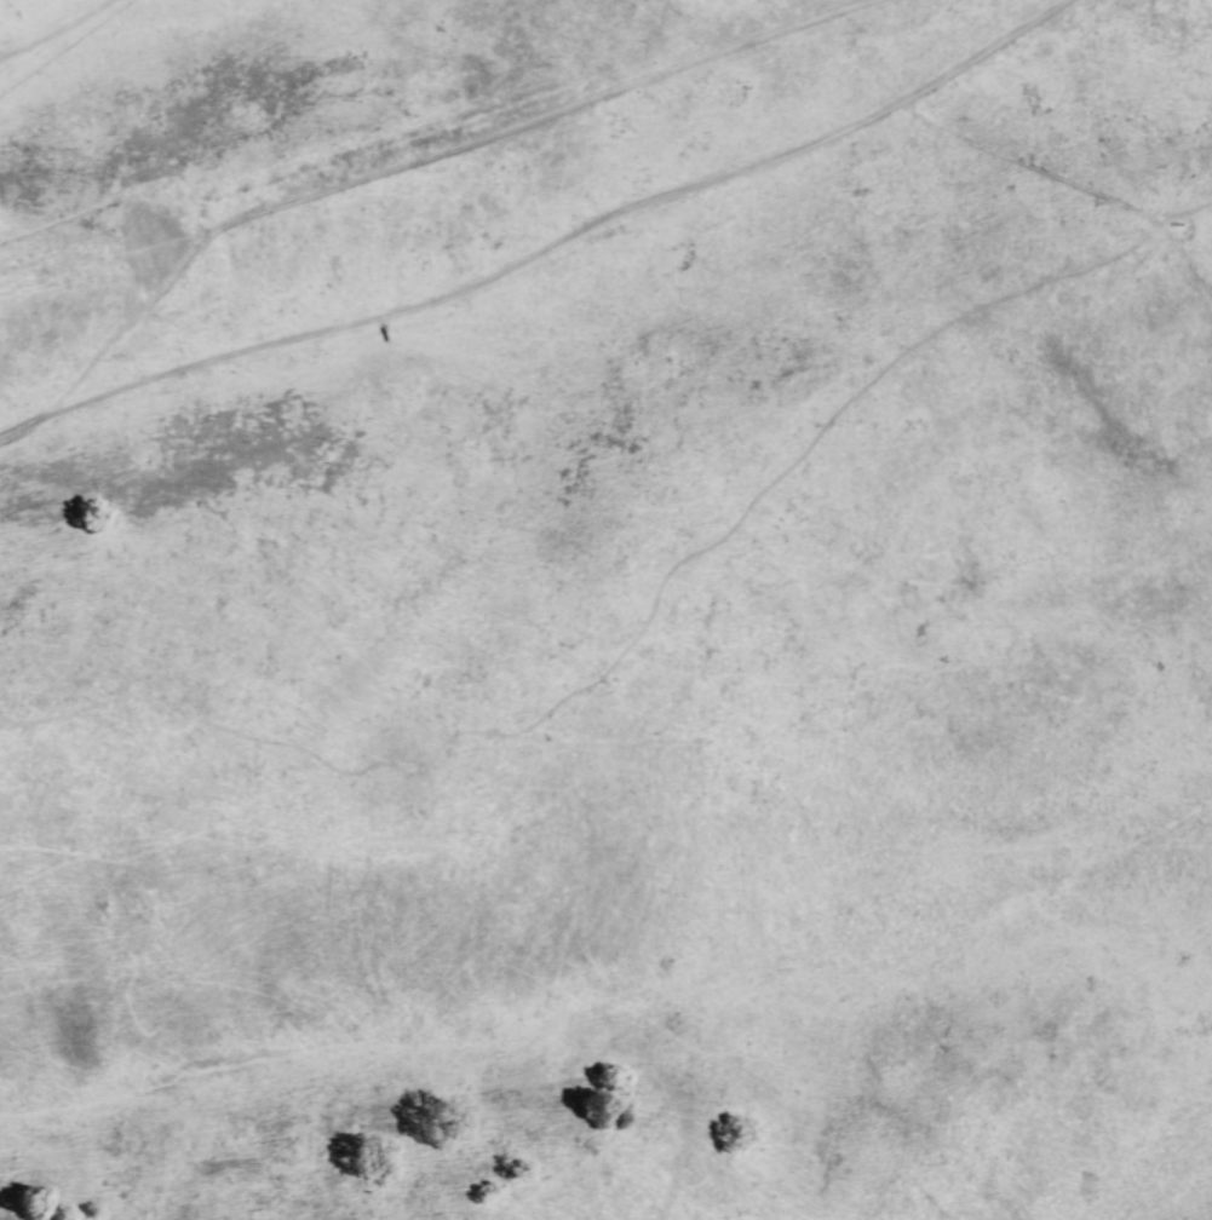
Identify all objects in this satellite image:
road: (401, 168)

